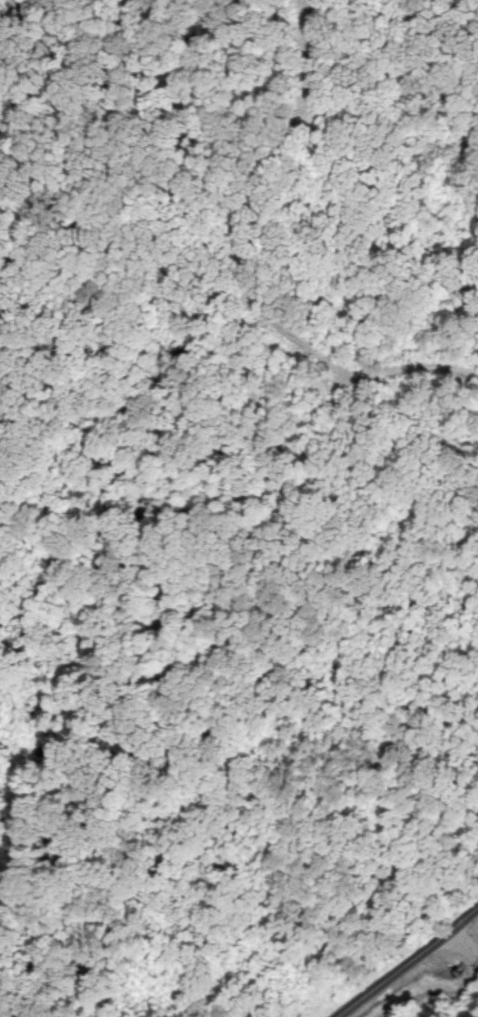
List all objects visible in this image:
road: (241, 383)
road: (461, 949)
road: (405, 960)

